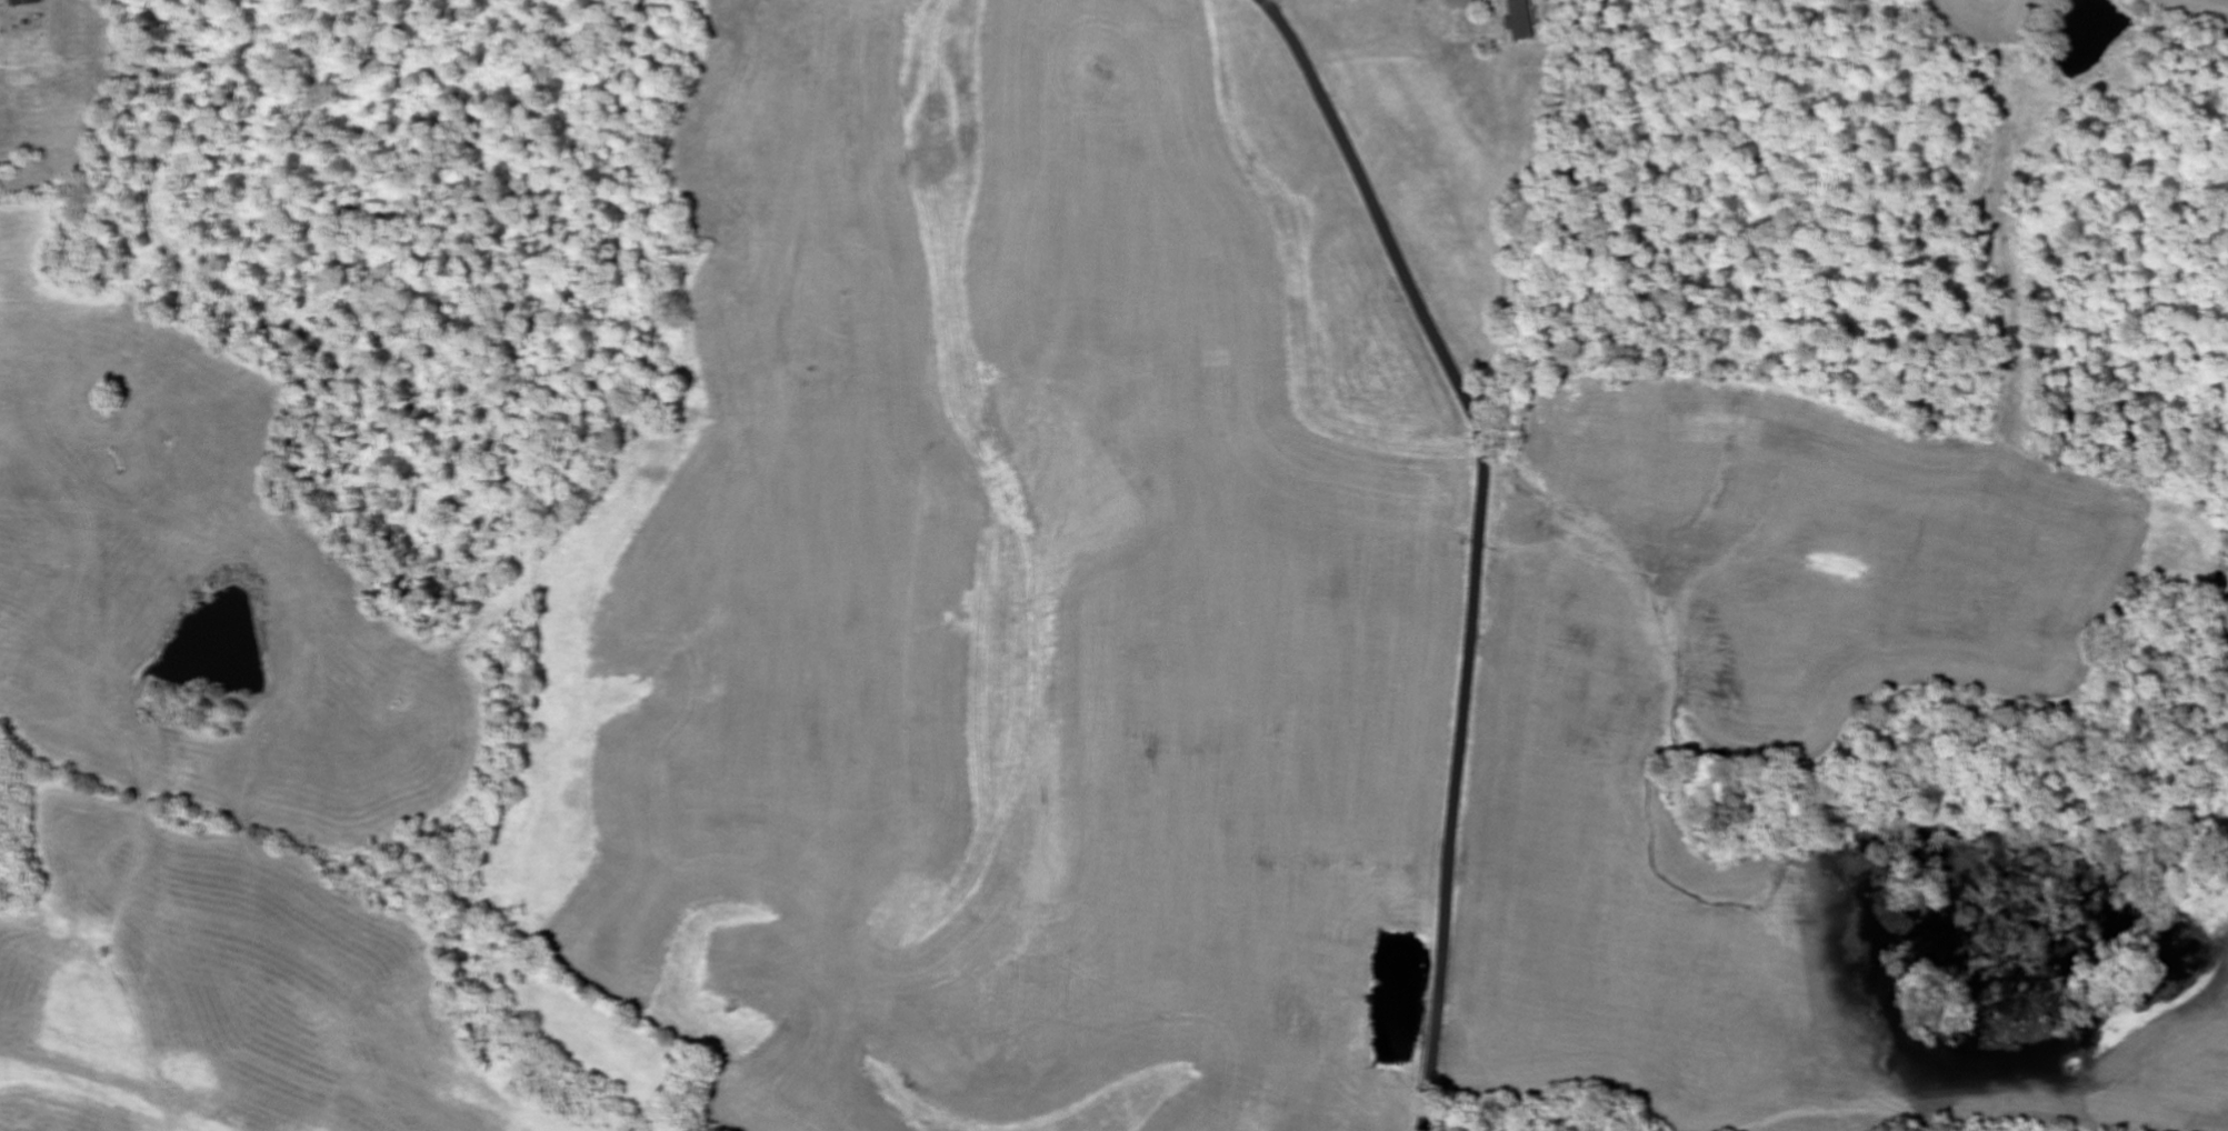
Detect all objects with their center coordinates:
building: (29, 2)
building: (1525, 20)
road: (1479, 540)

